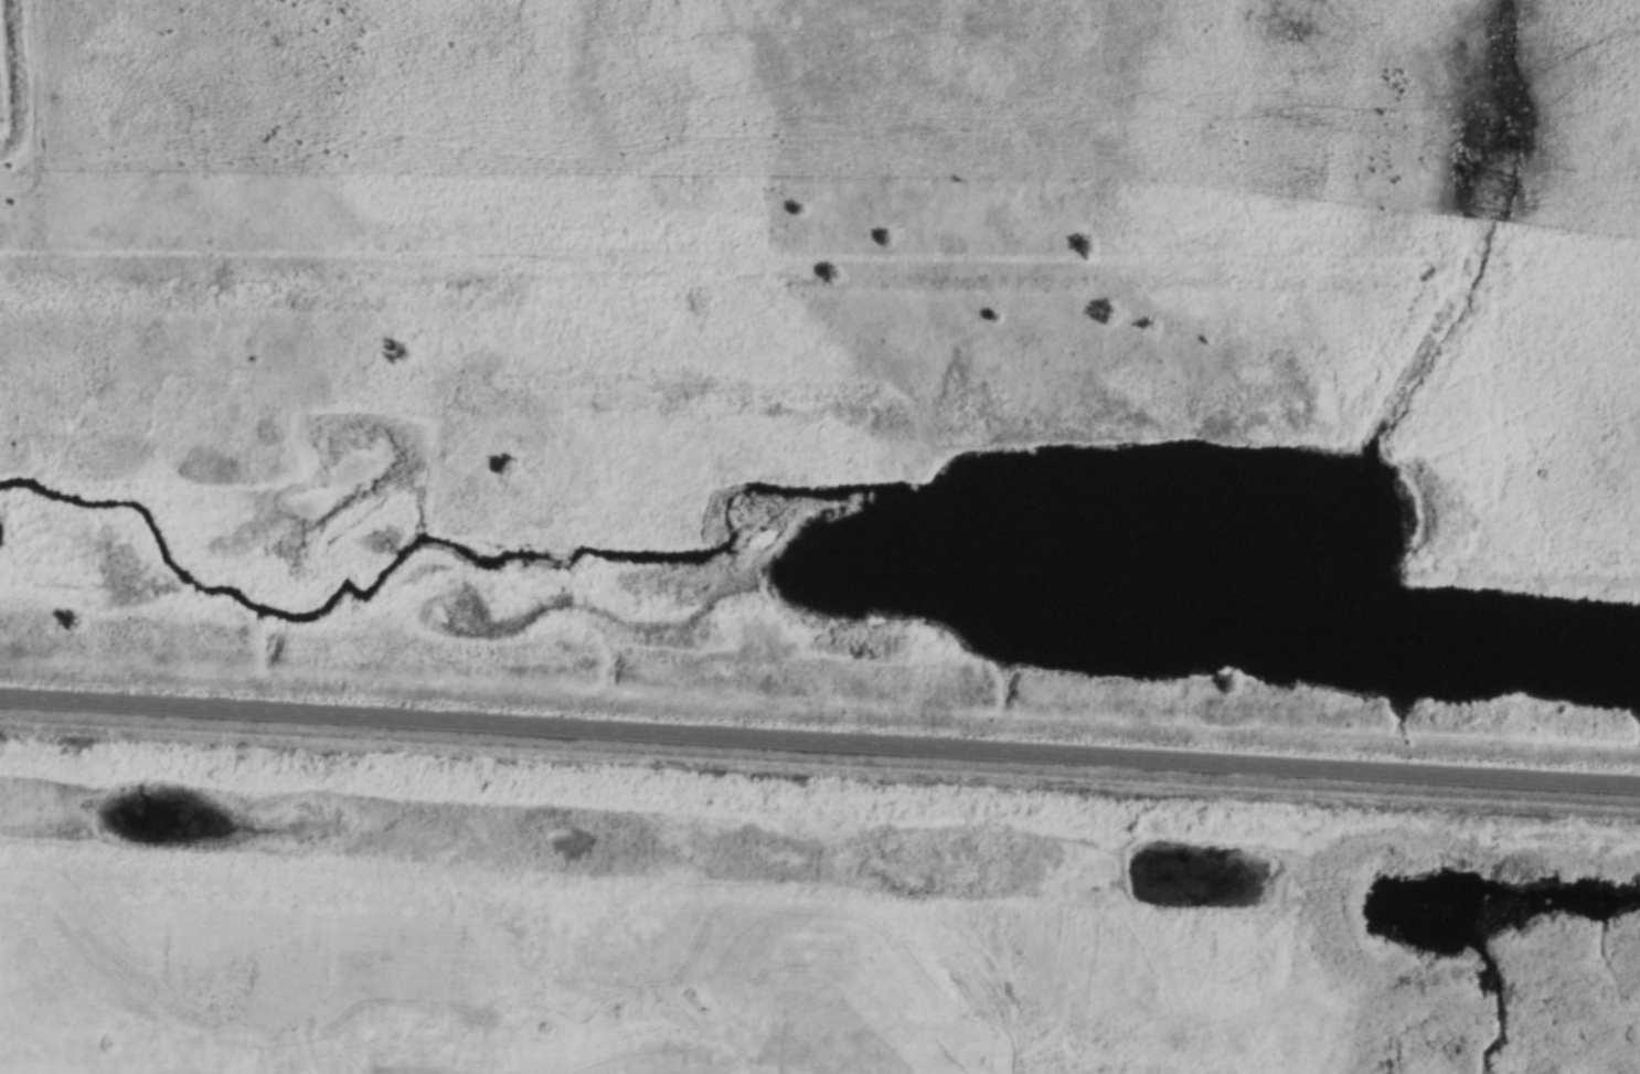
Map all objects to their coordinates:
road: (820, 741)

